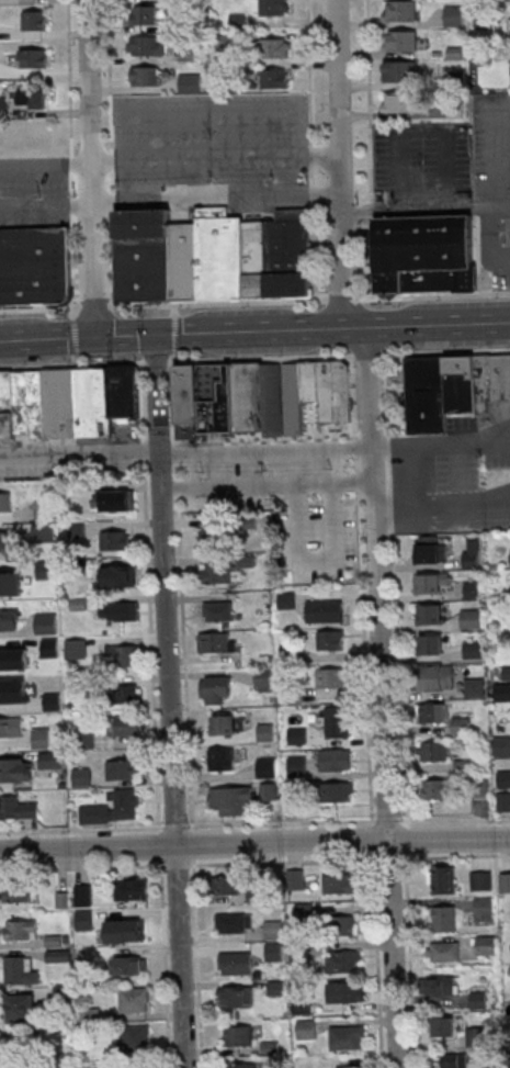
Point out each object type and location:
building: (271, 7)
building: (401, 10)
building: (144, 14)
building: (454, 15)
building: (34, 20)
building: (238, 21)
building: (400, 41)
building: (146, 45)
building: (276, 47)
building: (33, 57)
building: (401, 70)
road: (110, 72)
road: (309, 72)
building: (145, 75)
building: (274, 77)
road: (69, 78)
building: (190, 82)
building: (32, 98)
building: (401, 101)
building: (3, 105)
building: (455, 110)
road: (211, 120)
road: (421, 133)
parking lot: (211, 142)
parking lot: (491, 147)
road: (497, 147)
road: (370, 150)
road: (311, 156)
road: (112, 158)
road: (216, 158)
road: (71, 162)
parking lot: (422, 162)
road: (46, 166)
road: (341, 166)
road: (92, 170)
road: (311, 176)
road: (111, 183)
road: (71, 184)
parking lot: (34, 193)
road: (313, 195)
road: (170, 199)
road: (112, 201)
road: (72, 206)
road: (426, 209)
building: (143, 222)
road: (488, 243)
building: (419, 248)
parking lot: (496, 250)
road: (315, 251)
road: (113, 255)
building: (220, 255)
building: (276, 256)
road: (75, 260)
building: (35, 266)
building: (159, 266)
building: (463, 281)
building: (428, 282)
road: (434, 295)
road: (342, 296)
road: (218, 300)
road: (94, 305)
road: (38, 306)
street lamp: (188, 310)
road: (433, 326)
road: (256, 333)
traffic signals: (157, 338)
road: (127, 339)
traffic signals: (99, 340)
road: (48, 341)
road: (445, 350)
road: (366, 355)
road: (261, 358)
road: (156, 362)
road: (71, 364)
building: (457, 368)
building: (490, 382)
building: (311, 383)
road: (371, 387)
building: (336, 393)
building: (124, 394)
building: (456, 395)
road: (158, 396)
building: (188, 397)
building: (423, 397)
building: (249, 400)
building: (216, 401)
building: (284, 401)
building: (23, 404)
building: (88, 404)
building: (105, 404)
building: (38, 405)
building: (8, 406)
building: (61, 406)
building: (0, 428)
road: (254, 452)
parking lot: (494, 456)
parking lot: (437, 460)
road: (455, 463)
road: (411, 465)
parking lot: (70, 468)
road: (191, 472)
road: (268, 485)
building: (114, 499)
building: (5, 502)
building: (43, 509)
parking lot: (291, 511)
road: (443, 513)
building: (212, 535)
building: (115, 540)
building: (5, 542)
building: (431, 552)
building: (472, 553)
road: (318, 561)
building: (217, 573)
building: (118, 576)
building: (4, 580)
building: (430, 584)
building: (472, 589)
building: (121, 610)
building: (222, 610)
building: (325, 610)
building: (429, 615)
building: (471, 619)
building: (8, 621)
building: (330, 639)
building: (217, 642)
road: (381, 644)
building: (431, 644)
building: (473, 649)
building: (121, 654)
building: (8, 657)
building: (437, 676)
building: (331, 677)
building: (263, 679)
building: (475, 686)
building: (215, 689)
building: (3, 690)
building: (127, 694)
building: (432, 712)
building: (337, 721)
building: (125, 724)
building: (224, 724)
building: (461, 724)
building: (11, 727)
building: (265, 731)
building: (298, 735)
building: (41, 738)
building: (434, 751)
building: (222, 758)
building: (52, 760)
building: (336, 760)
road: (172, 762)
building: (298, 766)
building: (267, 768)
building: (16, 769)
building: (126, 769)
building: (503, 778)
building: (434, 788)
building: (270, 790)
building: (337, 794)
building: (233, 799)
building: (502, 801)
building: (19, 807)
building: (114, 808)
road: (449, 840)
road: (193, 844)
road: (254, 862)
building: (444, 879)
building: (483, 879)
building: (506, 881)
building: (338, 884)
building: (228, 885)
building: (133, 888)
building: (19, 892)
building: (484, 910)
building: (443, 918)
building: (236, 922)
building: (345, 925)
building: (22, 929)
building: (274, 929)
building: (486, 945)
building: (443, 951)
road: (393, 954)
building: (60, 955)
building: (344, 960)
building: (236, 963)
road: (378, 964)
building: (131, 965)
building: (21, 971)
building: (442, 985)
building: (348, 991)
building: (236, 997)
building: (134, 1001)
building: (22, 1009)
building: (443, 1026)
building: (306, 1028)
building: (239, 1035)
building: (348, 1037)
building: (135, 1038)
building: (452, 1063)
building: (241, 1065)
building: (350, 1066)

